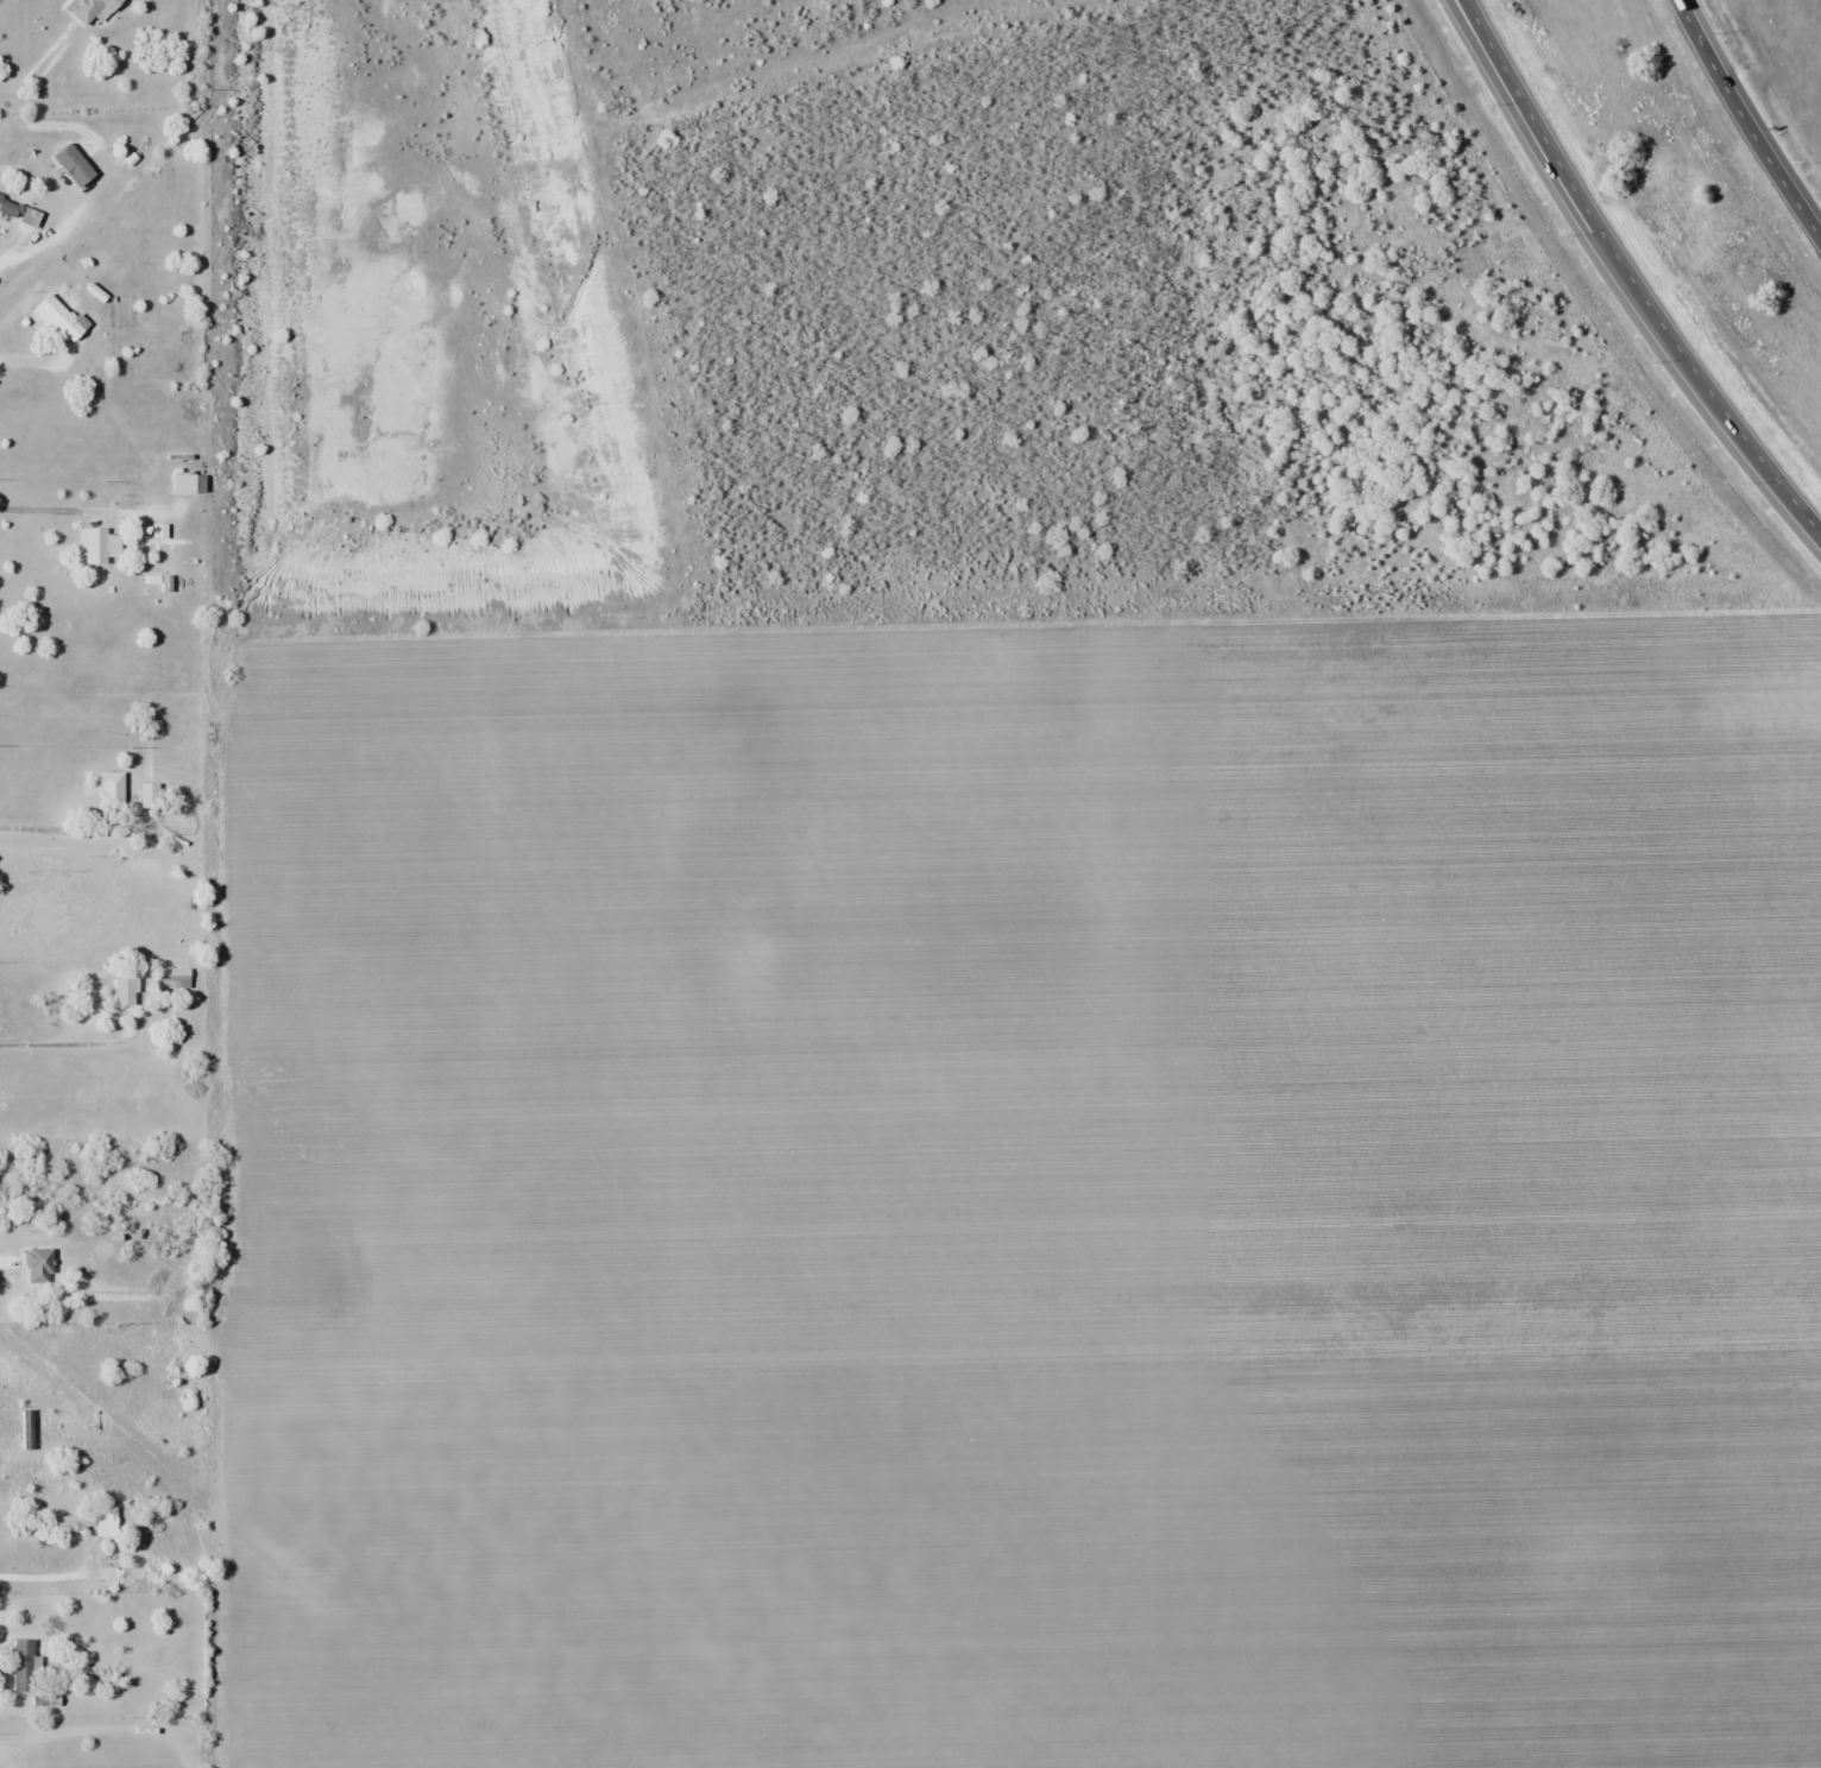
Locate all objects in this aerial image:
building: (92, 10)
road: (1469, 11)
road: (1745, 120)
road: (1582, 200)
road: (10, 247)
building: (71, 333)
road: (31, 353)
road: (1764, 463)
building: (188, 482)
road: (55, 504)
building: (97, 545)
building: (149, 796)
road: (50, 822)
building: (171, 979)
building: (125, 991)
road: (82, 1037)
building: (107, 1518)
building: (113, 1576)
building: (24, 1667)

